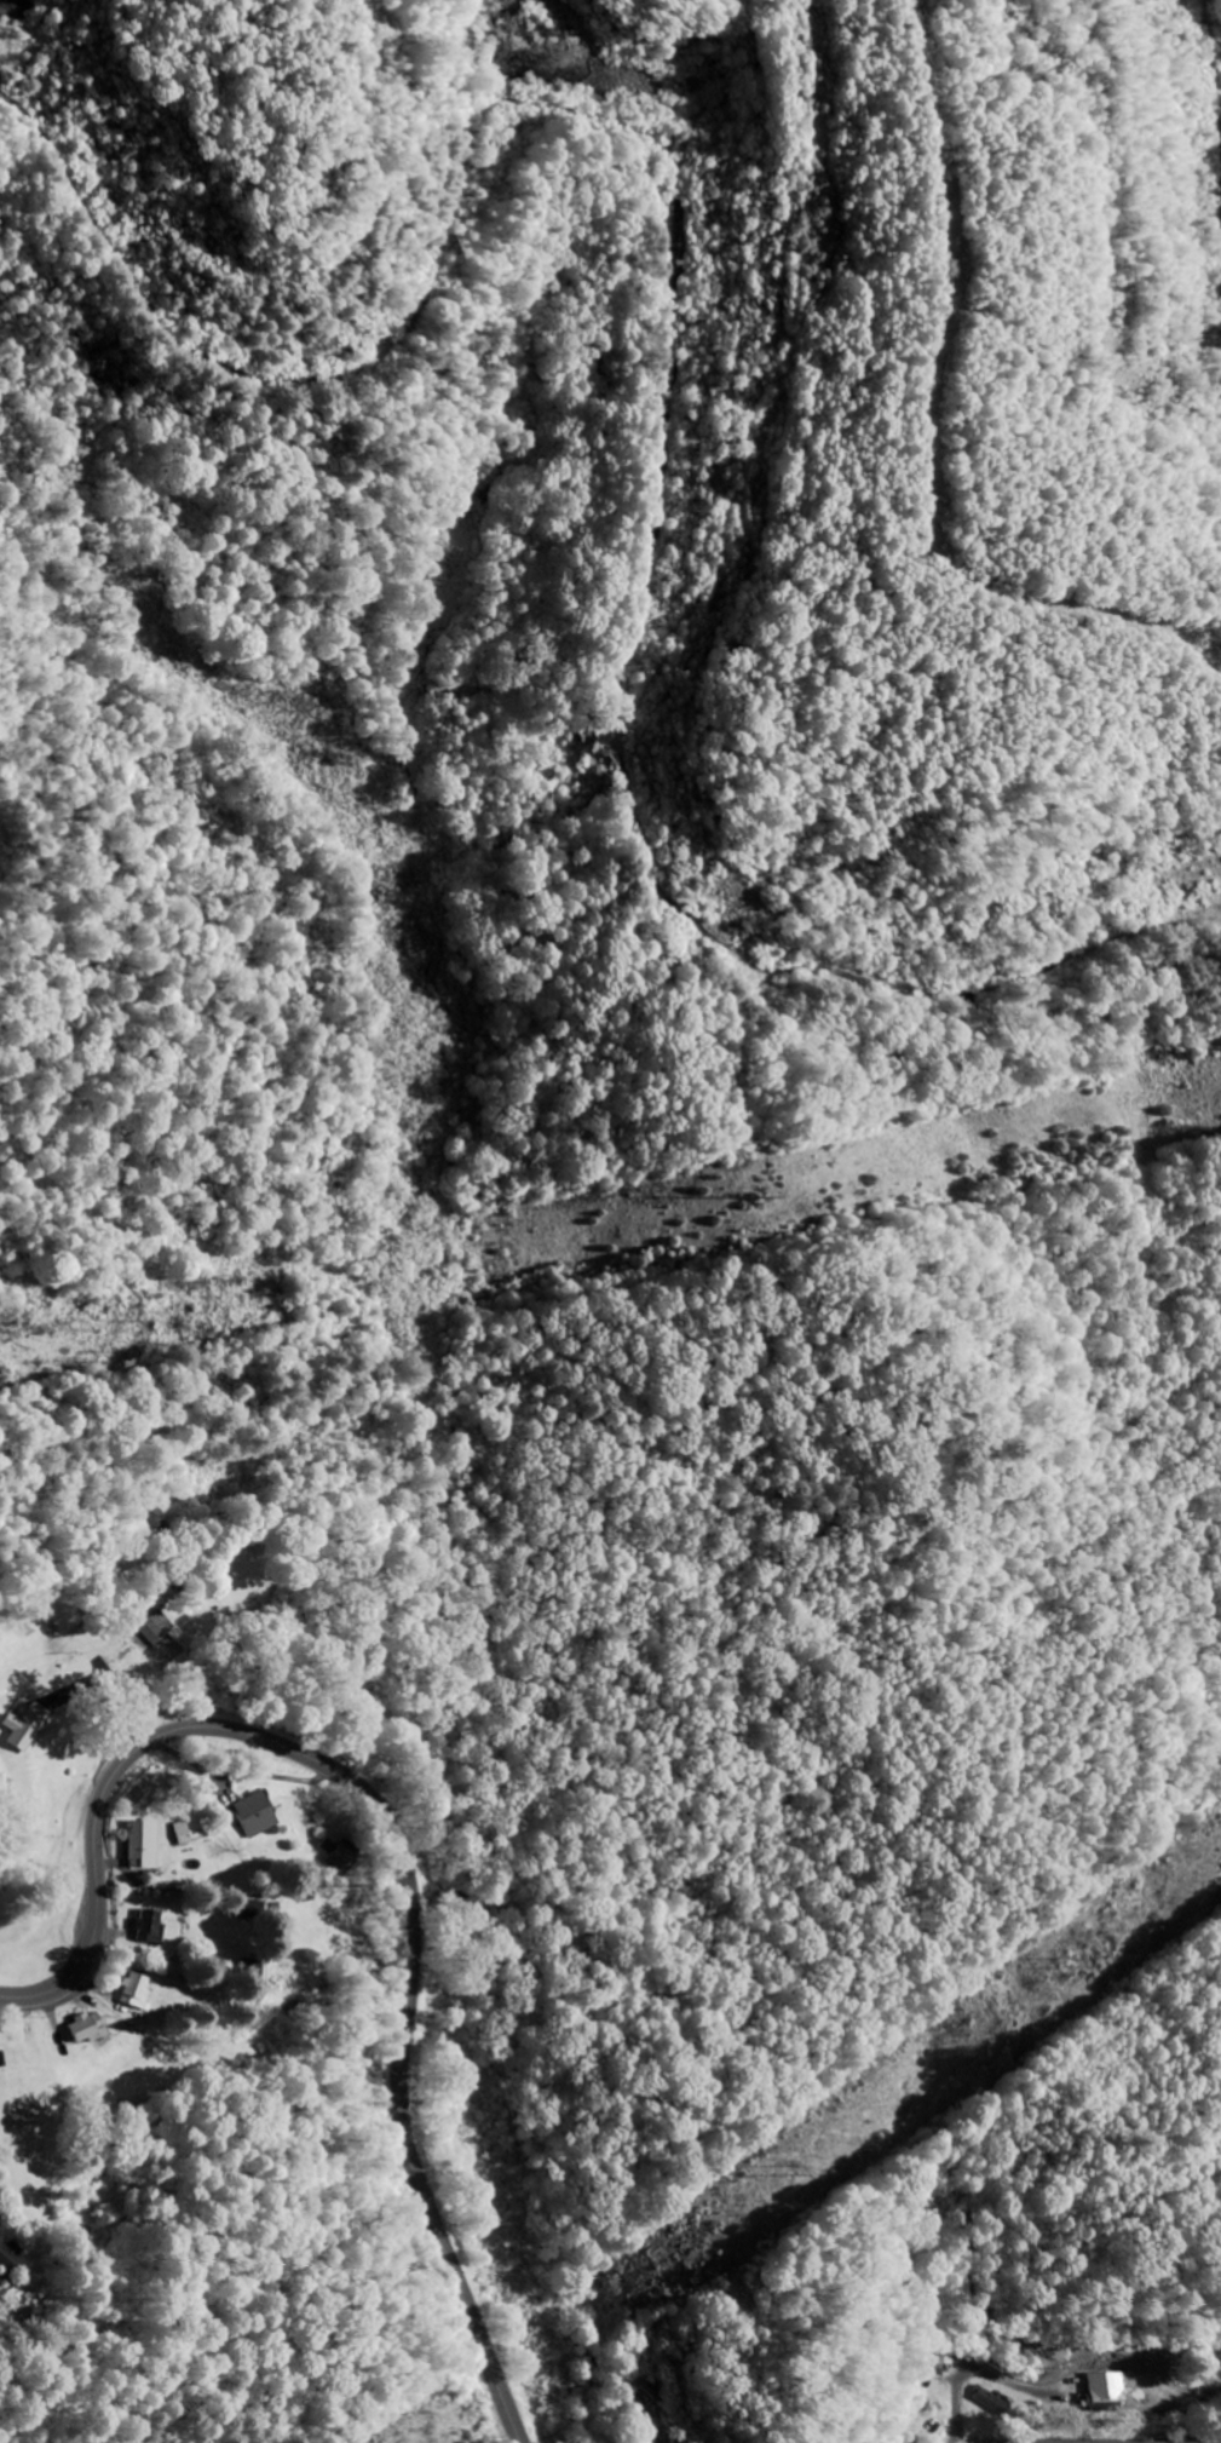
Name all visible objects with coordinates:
road: (1214, 48)
road: (641, 841)
power tower: (760, 1197)
building: (154, 1626)
building: (23, 1725)
road: (394, 1838)
building: (142, 1843)
building: (339, 1855)
building: (148, 1925)
building: (248, 1966)
power tower: (1087, 1970)
road: (845, 1974)
building: (134, 1988)
building: (83, 2025)
building: (8, 2257)
building: (943, 2356)
building: (1104, 2390)
building: (987, 2397)
road: (1211, 2442)

